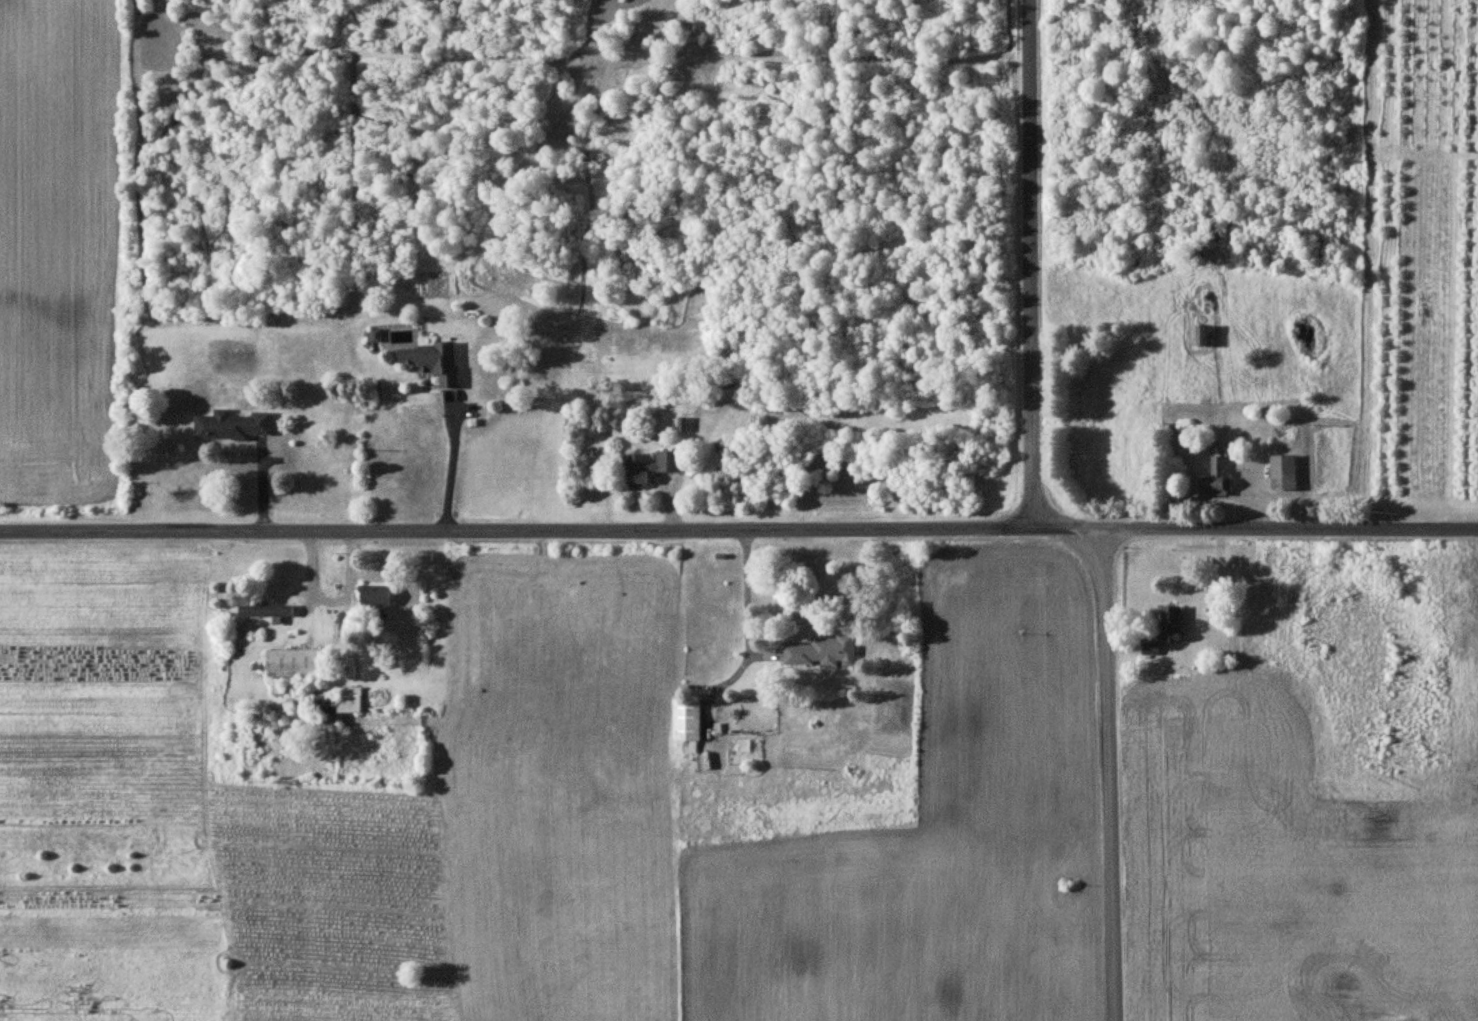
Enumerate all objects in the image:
road: (1034, 264)
building: (380, 337)
building: (433, 361)
building: (231, 425)
road: (451, 465)
building: (652, 466)
building: (1285, 472)
building: (1215, 478)
road: (739, 529)
road: (750, 592)
building: (376, 594)
building: (267, 611)
building: (1172, 624)
building: (1151, 647)
building: (824, 652)
building: (295, 662)
building: (340, 701)
building: (688, 724)
road: (1112, 775)

